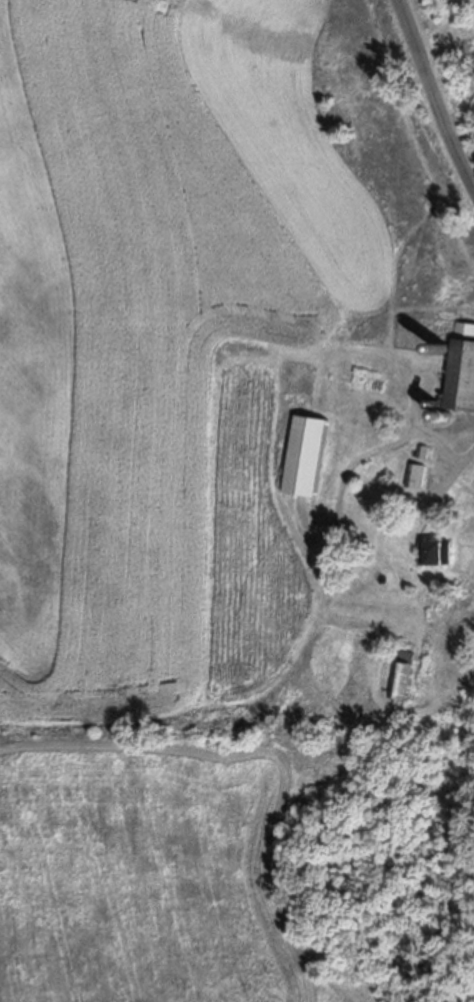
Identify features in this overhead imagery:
road: (435, 92)
building: (461, 369)
road: (372, 450)
road: (449, 455)
building: (304, 457)
building: (414, 476)
building: (436, 554)
building: (399, 681)

